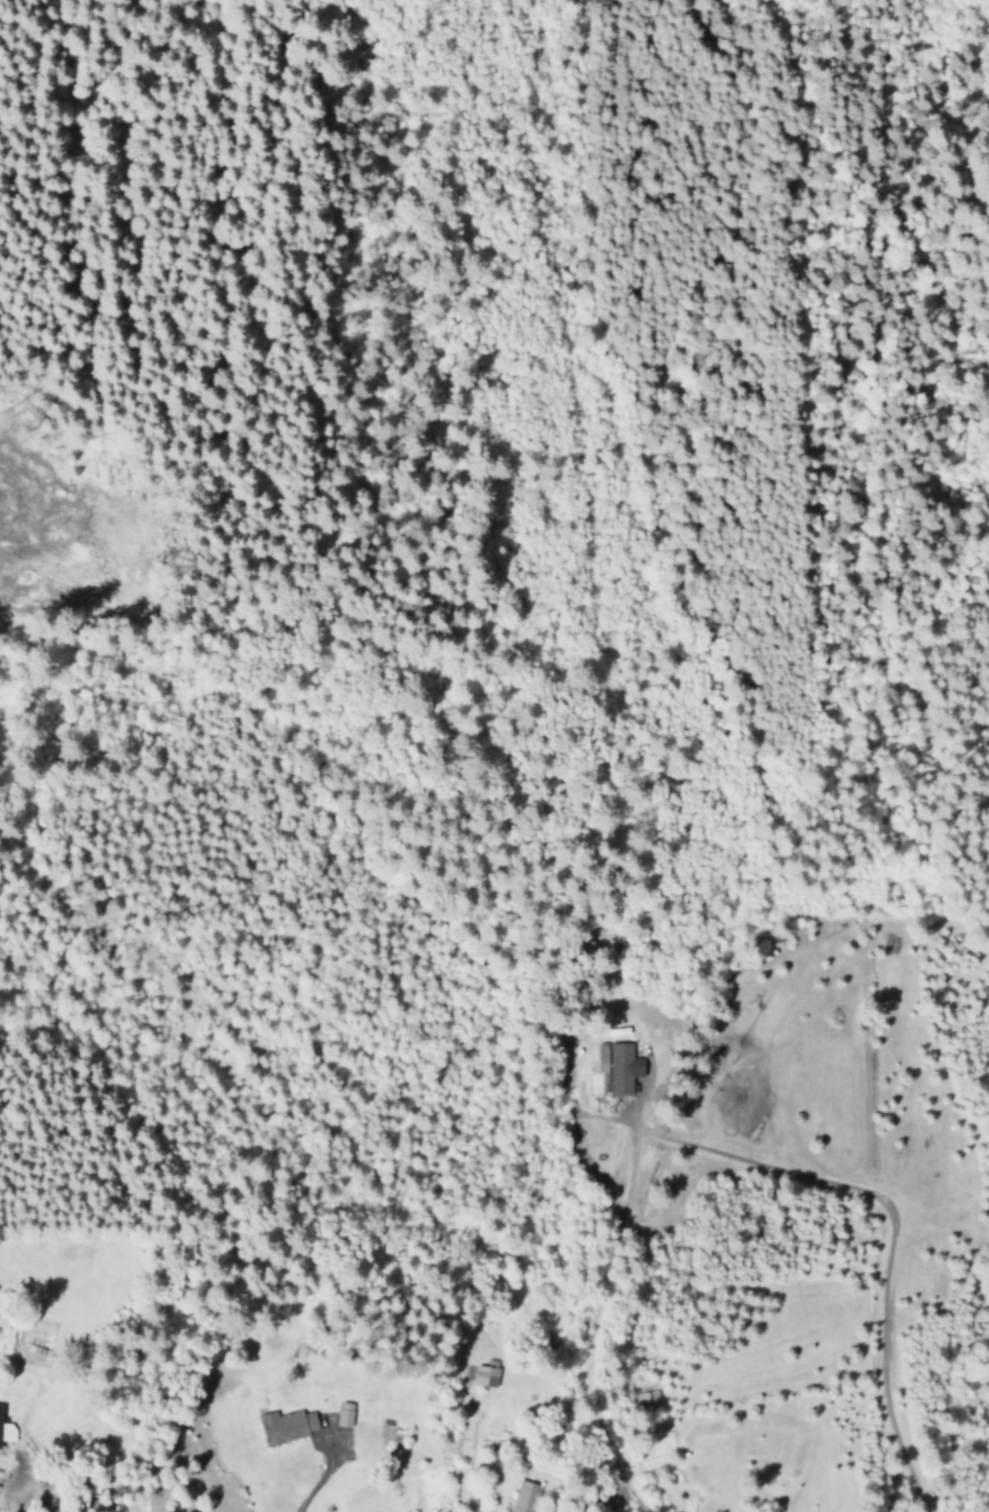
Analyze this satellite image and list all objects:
road: (81, 268)
road: (32, 443)
building: (619, 1065)
road: (884, 1243)
building: (486, 1373)
building: (645, 1399)
building: (345, 1413)
building: (288, 1425)
building: (6, 1428)
building: (525, 1496)

